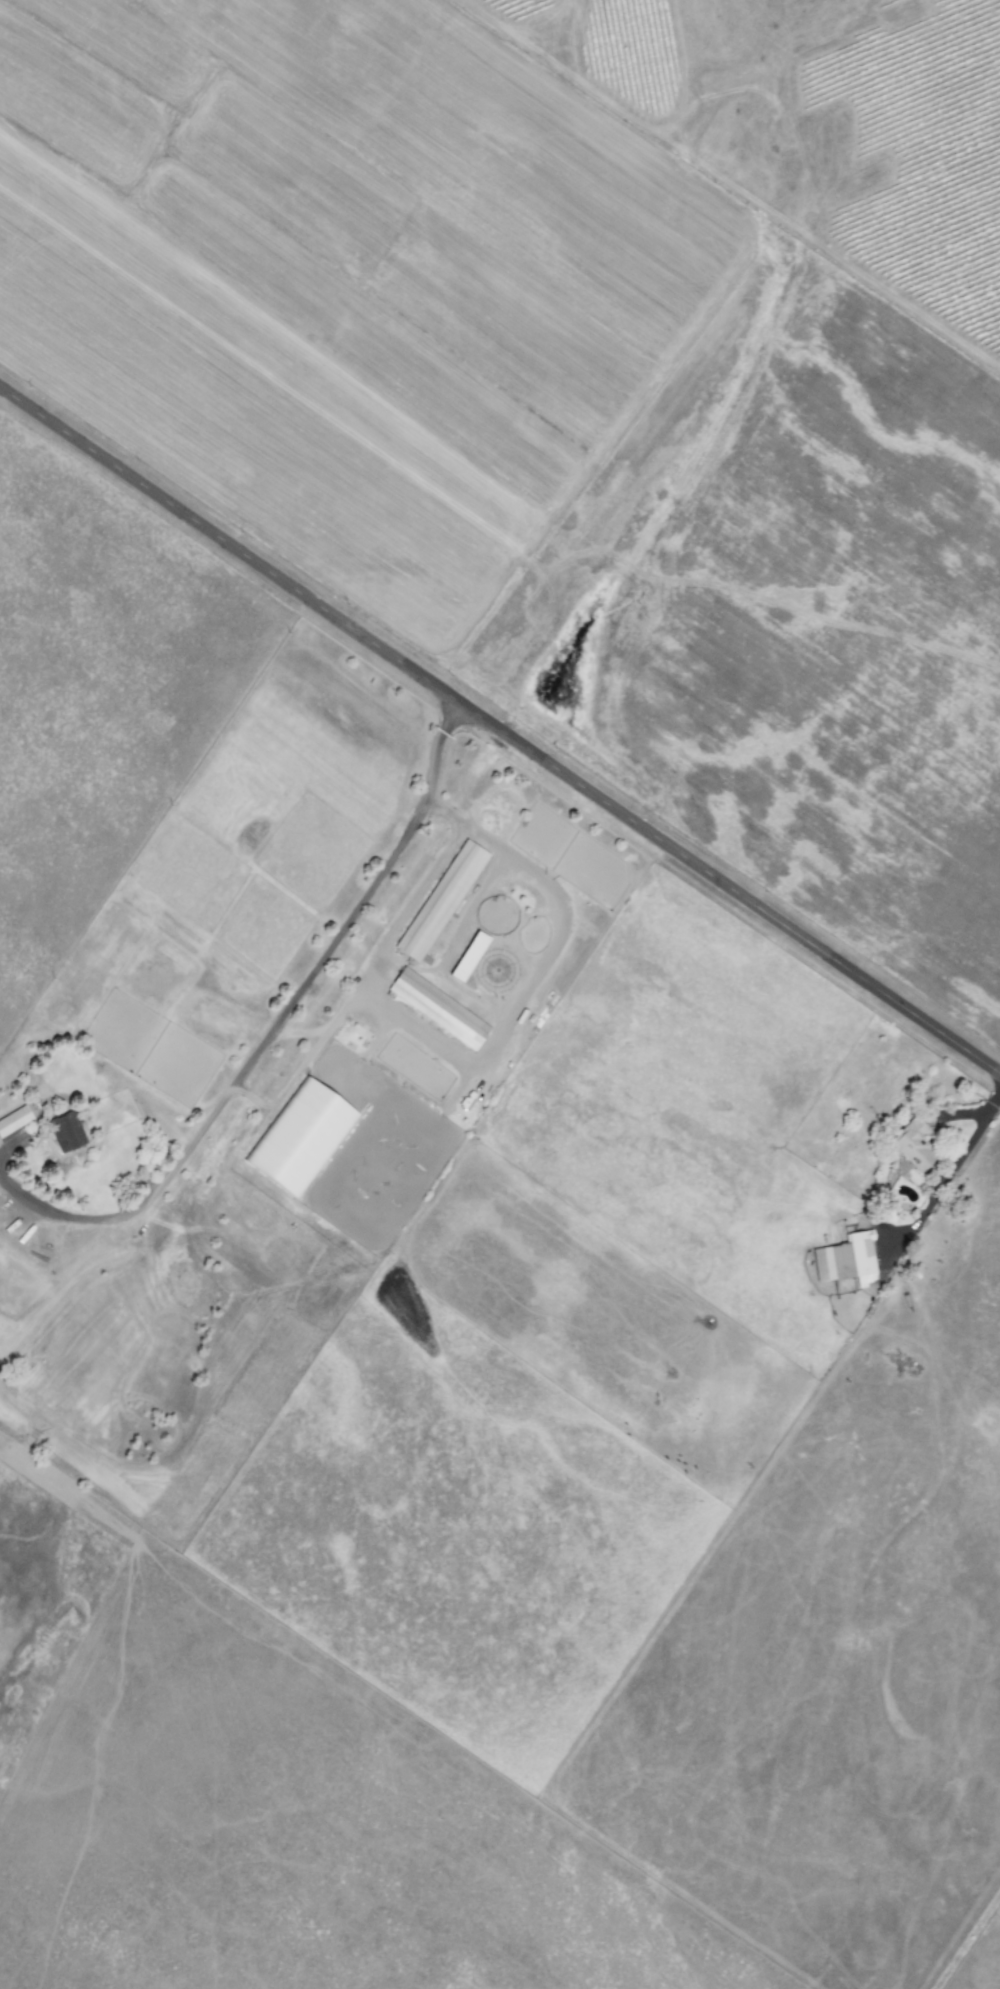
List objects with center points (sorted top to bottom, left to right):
road: (500, 728)
building: (441, 901)
road: (406, 909)
building: (469, 956)
building: (438, 1009)
road: (272, 1029)
road: (489, 1052)
building: (14, 1120)
building: (66, 1132)
building: (300, 1138)
building: (913, 1145)
road: (1, 1152)
road: (951, 1173)
building: (847, 1260)

